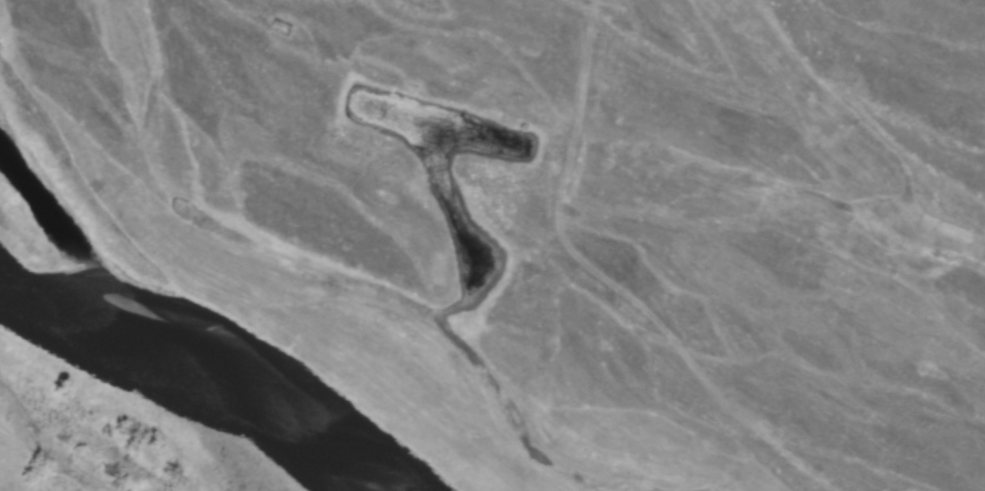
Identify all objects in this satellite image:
river: (200, 379)

